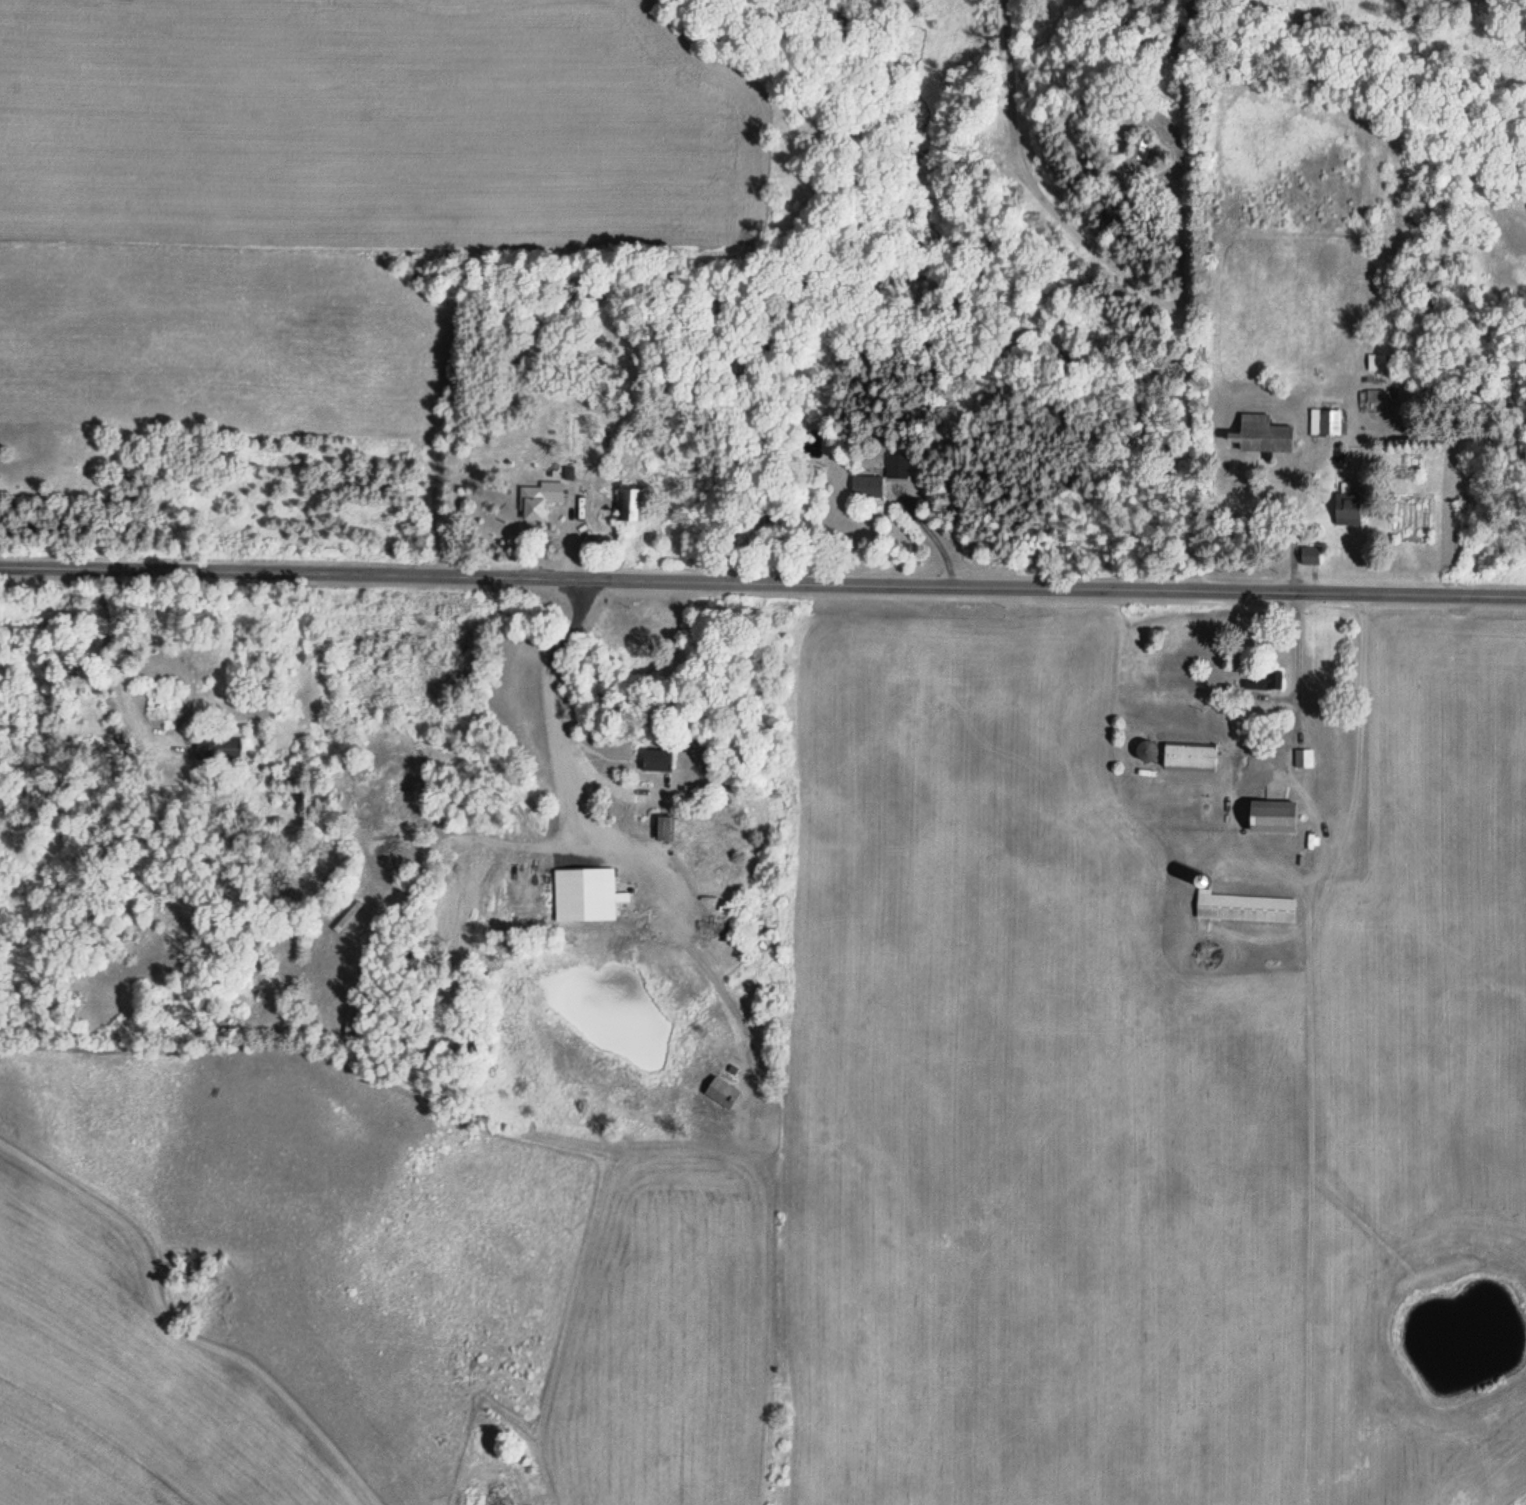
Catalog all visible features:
building: (1141, 148)
building: (1378, 397)
building: (1331, 421)
building: (1261, 436)
building: (899, 467)
building: (868, 487)
building: (540, 498)
building: (633, 506)
building: (1348, 511)
building: (1311, 556)
road: (763, 587)
building: (1263, 679)
building: (219, 749)
building: (1147, 752)
building: (1191, 758)
building: (1304, 759)
building: (658, 760)
building: (1273, 817)
building: (665, 829)
building: (586, 895)
building: (1244, 907)
building: (723, 1093)

